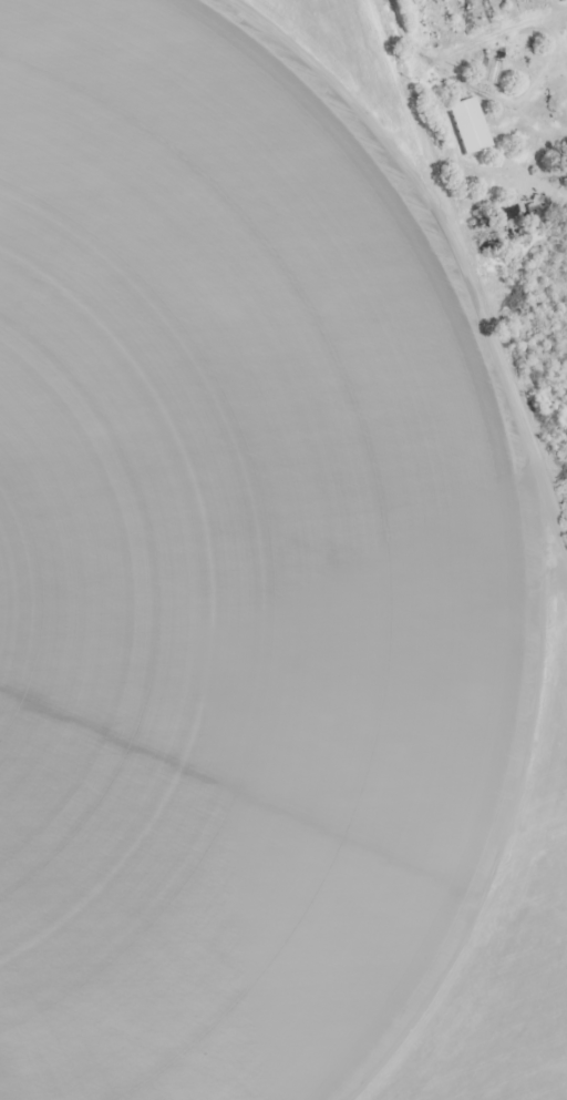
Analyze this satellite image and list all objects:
building: (468, 125)

